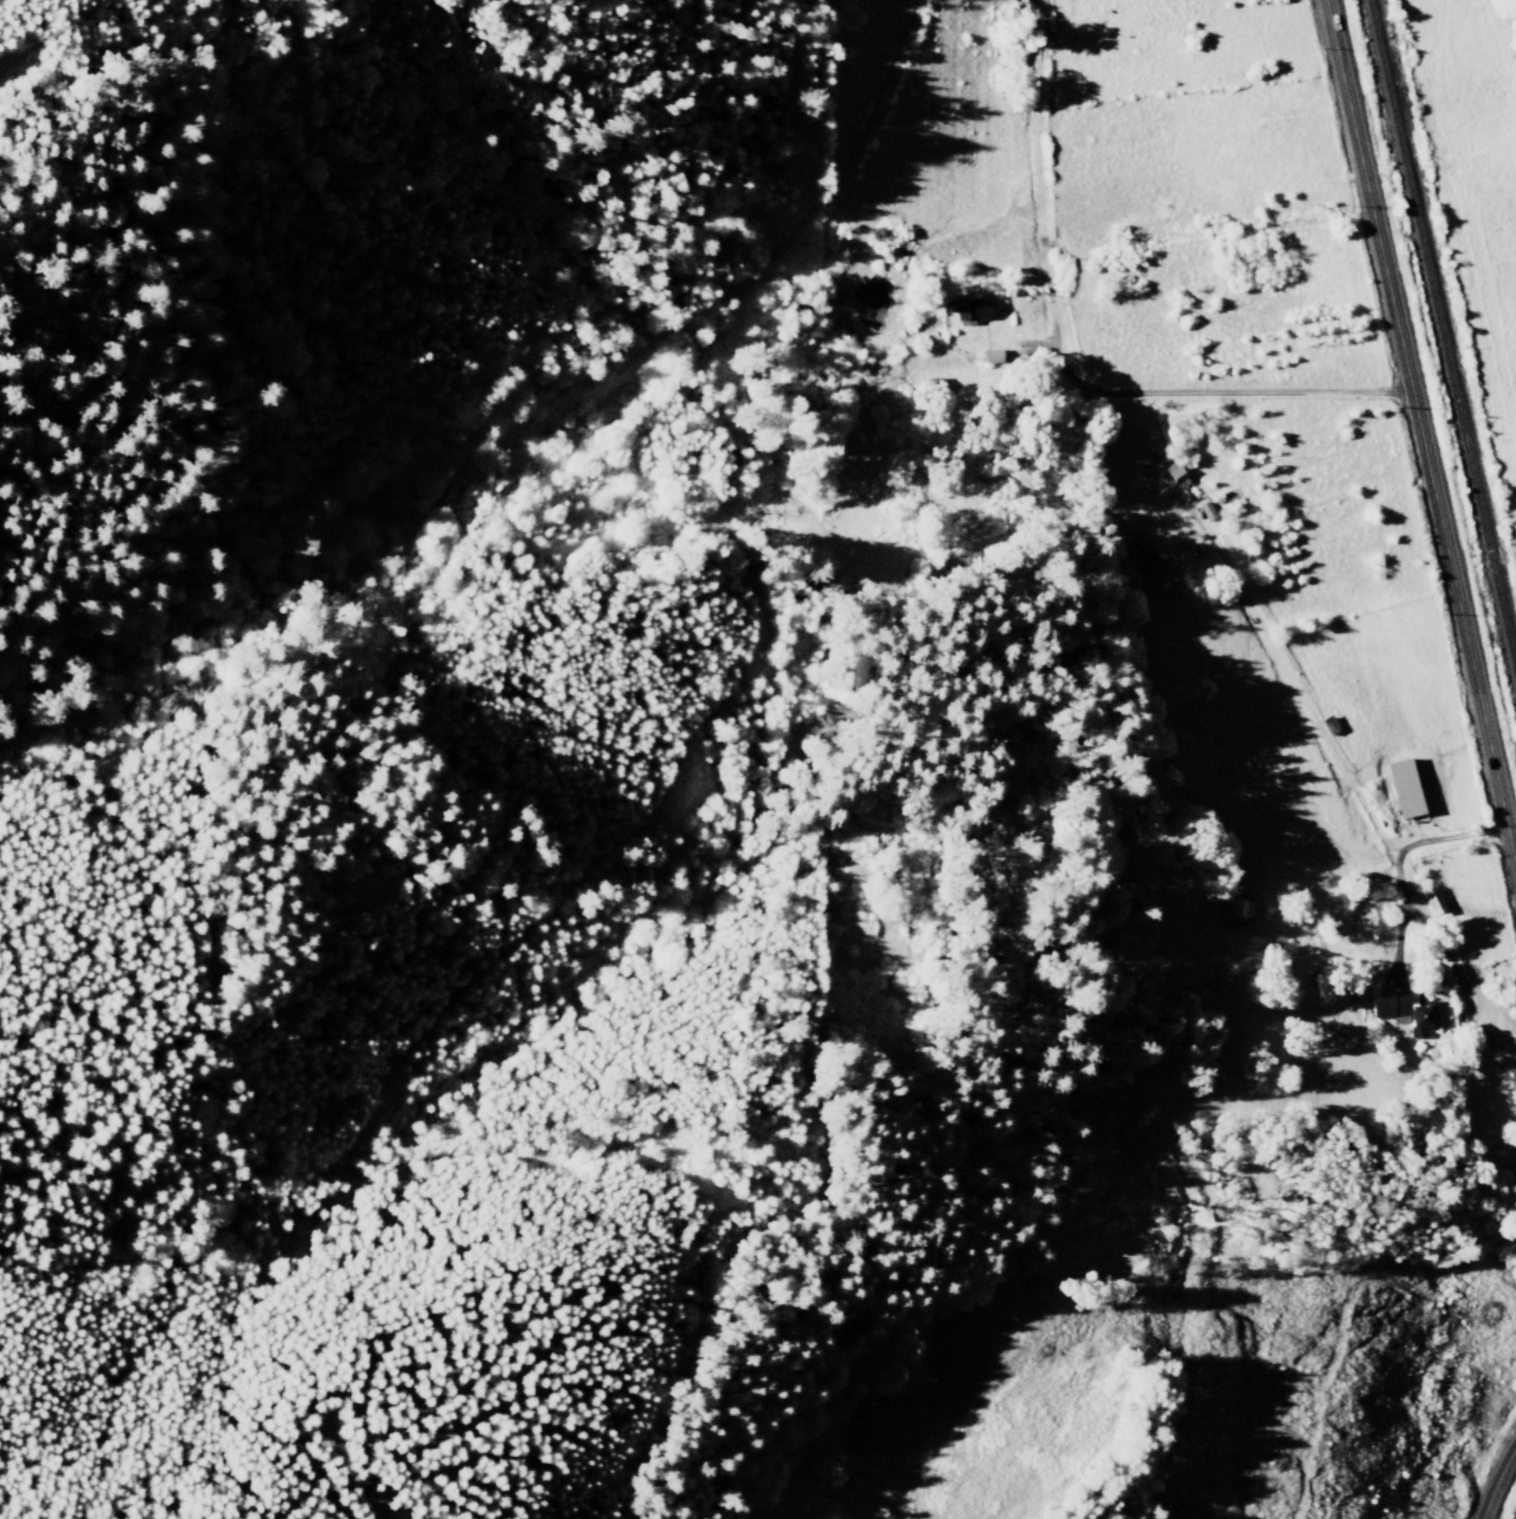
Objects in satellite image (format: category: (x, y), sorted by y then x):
road: (15, 67)
railway: (1441, 335)
road: (1420, 429)
building: (1177, 476)
building: (1207, 511)
building: (1405, 787)
building: (1434, 902)
building: (1235, 911)
building: (1406, 1011)
road: (1493, 1478)

